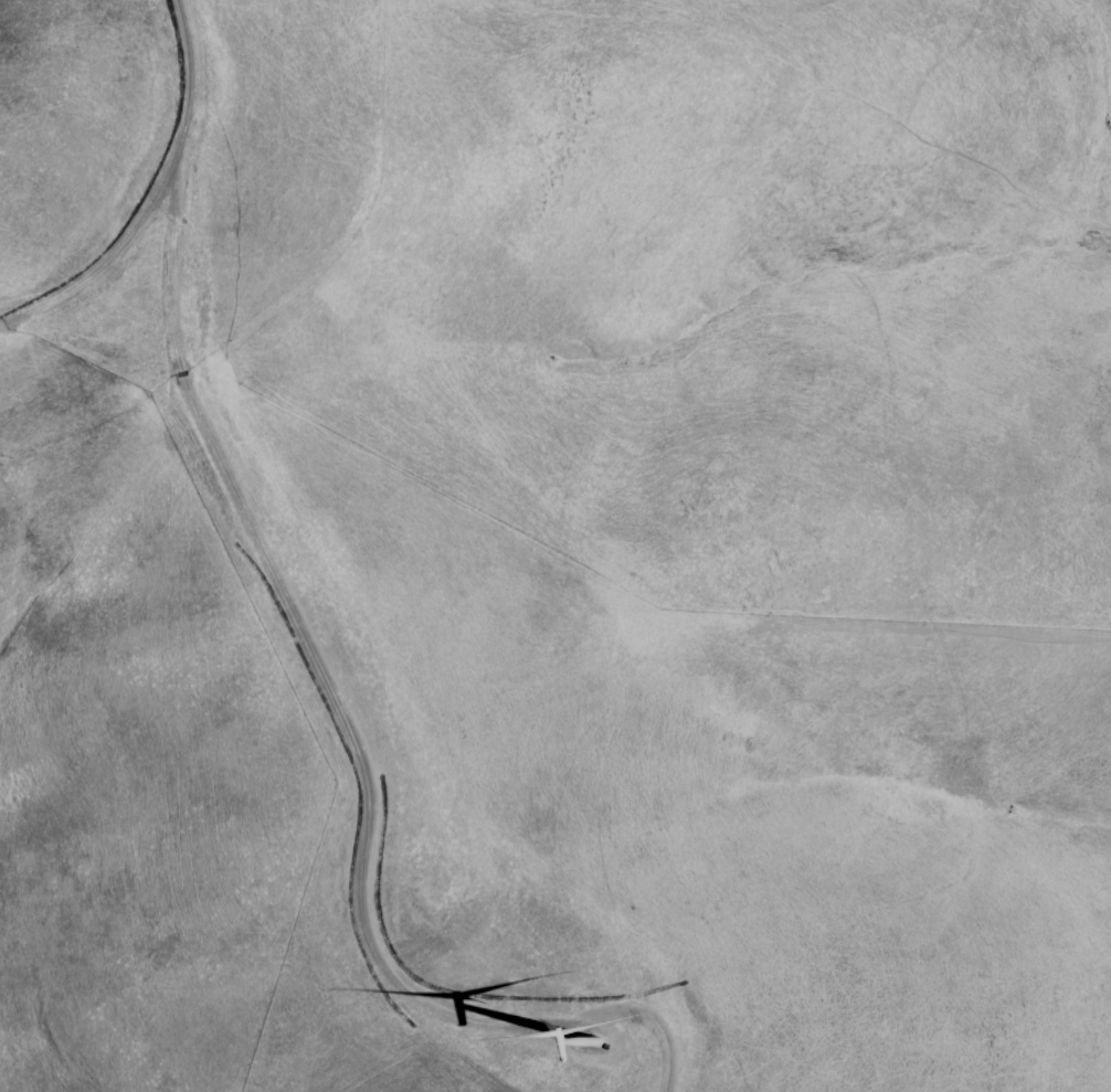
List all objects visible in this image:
road: (151, 199)
road: (339, 755)
wind turbine: (592, 1033)

